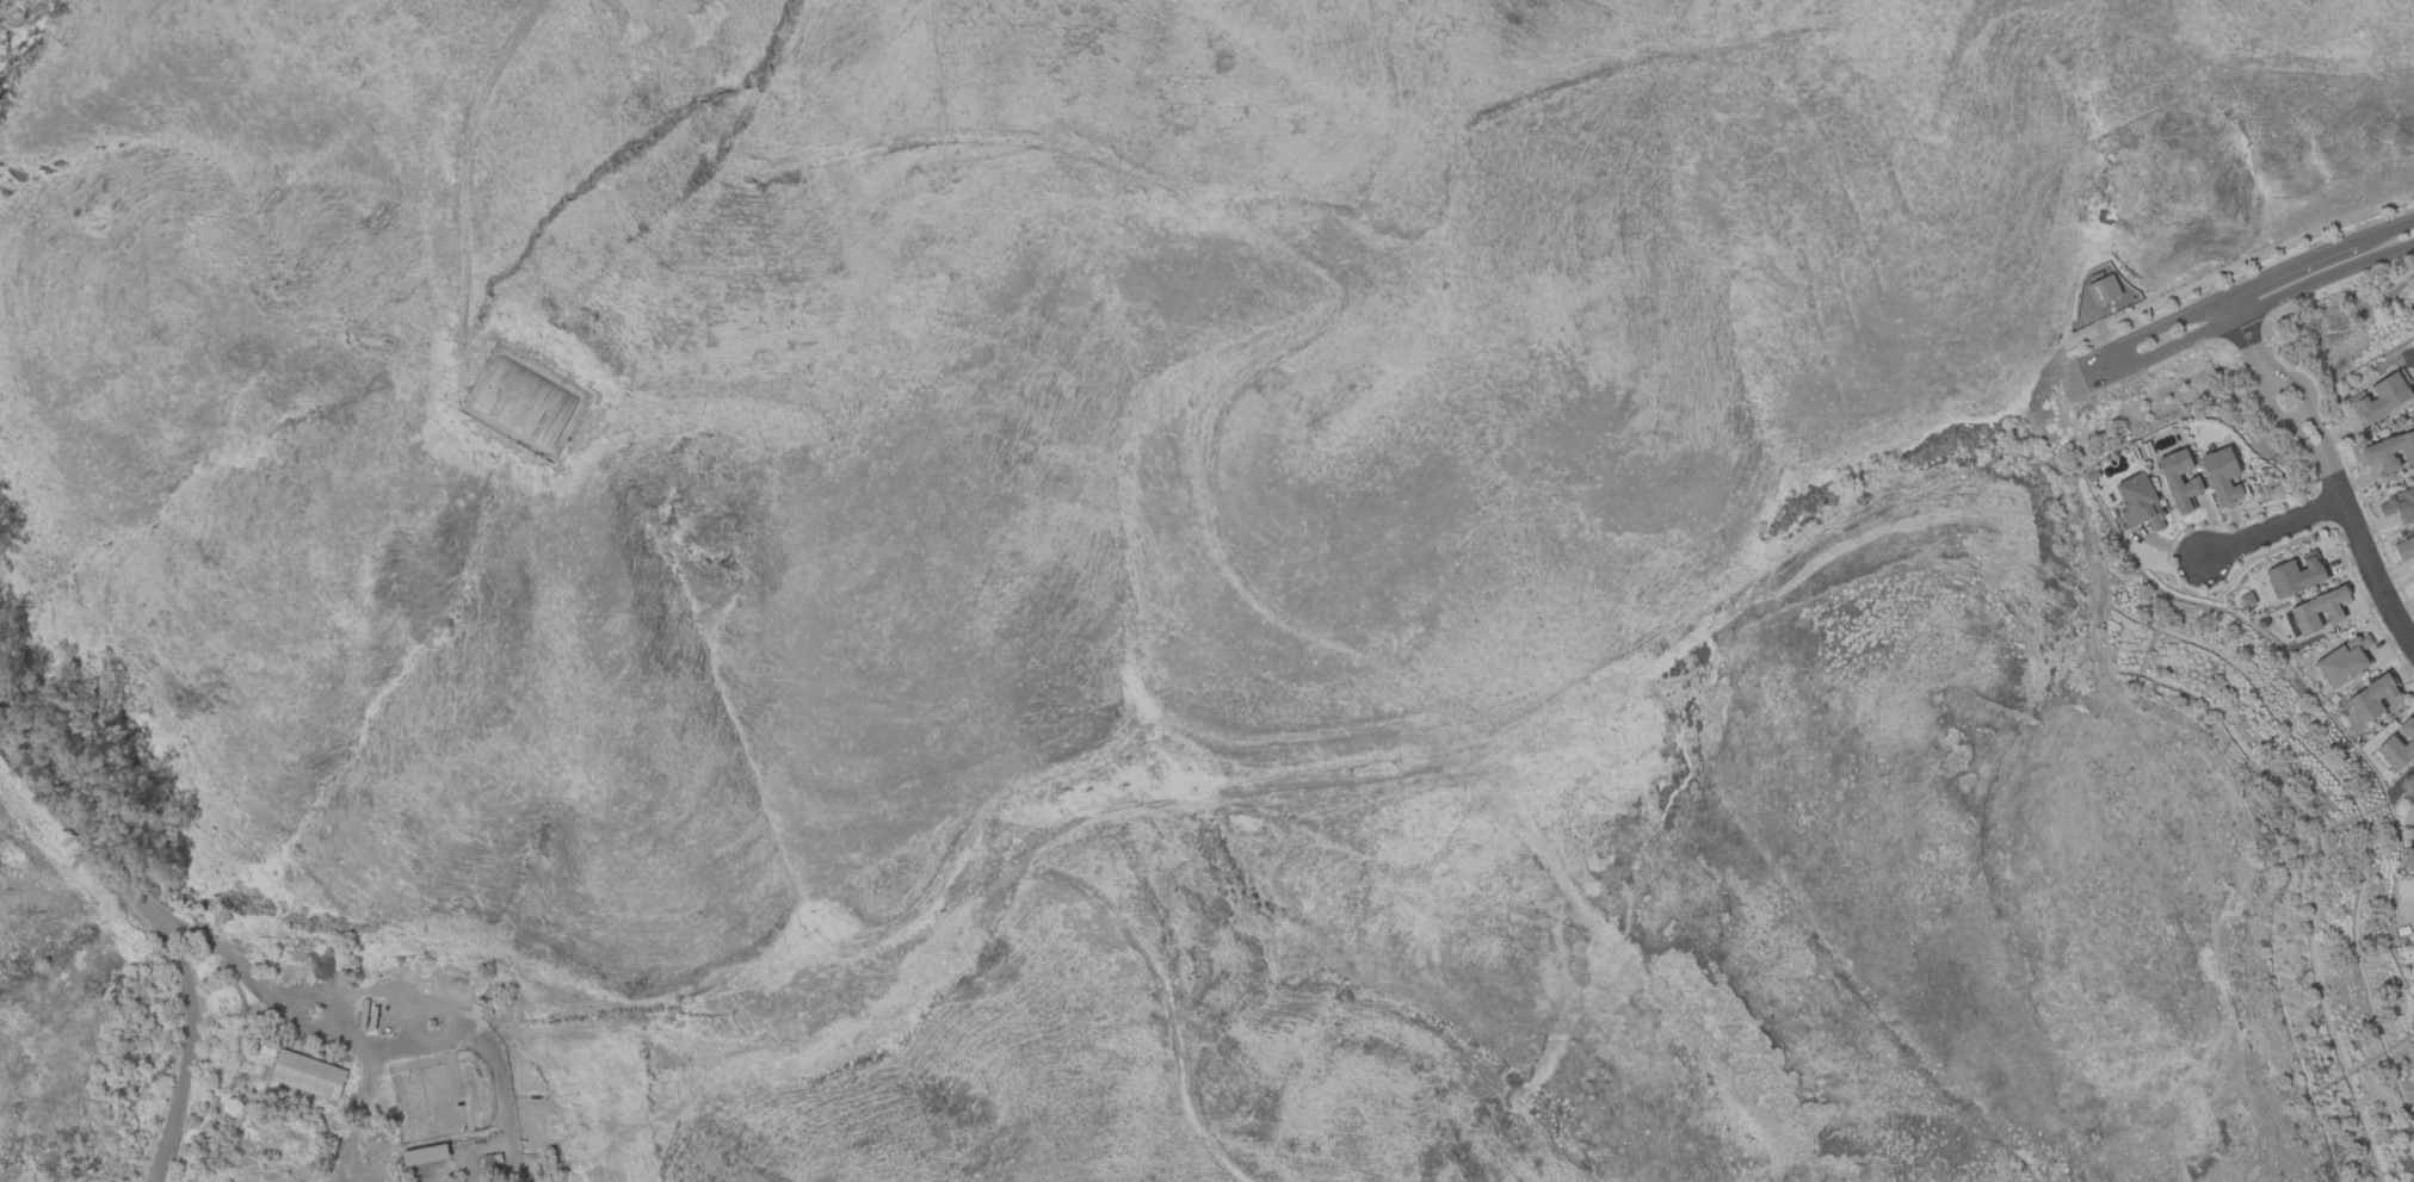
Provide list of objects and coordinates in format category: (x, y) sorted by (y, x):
road: (2237, 262)
building: (2101, 289)
road: (2237, 292)
road: (2252, 308)
road: (2097, 324)
road: (2245, 345)
building: (2381, 396)
road: (2276, 416)
road: (2311, 419)
road: (2298, 429)
road: (2322, 441)
road: (2311, 447)
building: (2389, 452)
building: (2221, 476)
building: (2178, 479)
building: (2138, 502)
building: (2398, 506)
road: (2272, 530)
building: (2404, 547)
road: (2364, 551)
building: (2295, 574)
building: (2246, 599)
building: (2317, 609)
building: (2344, 661)
building: (2371, 699)
building: (2397, 747)
building: (2408, 856)
road: (161, 933)
road: (407, 1051)
building: (307, 1073)
building: (424, 1153)

